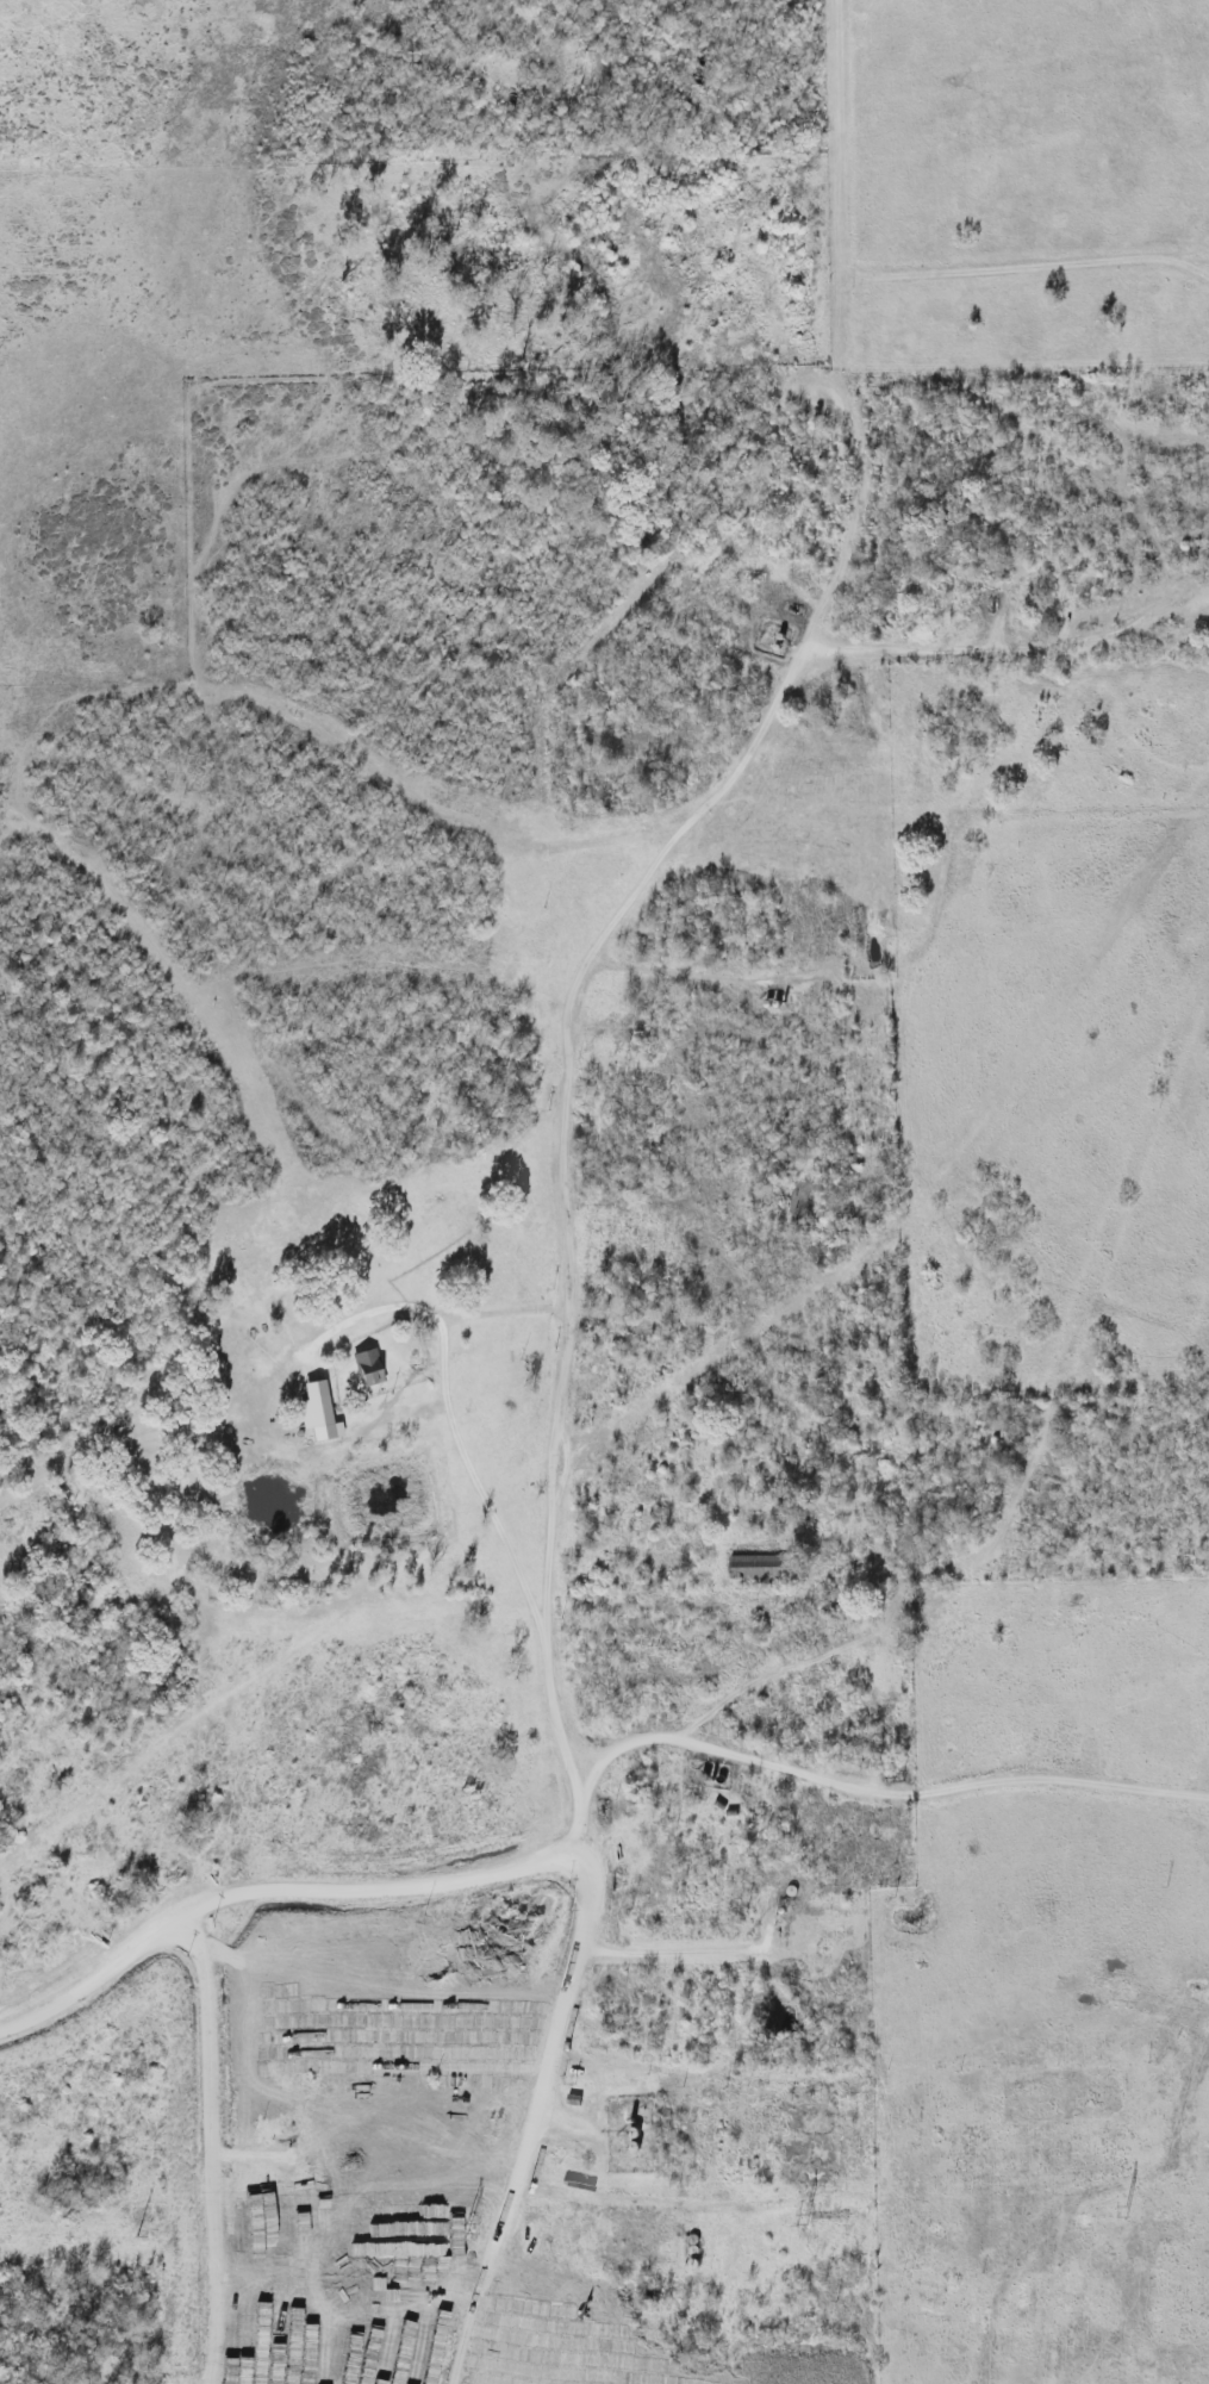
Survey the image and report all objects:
road: (840, 139)
road: (1022, 648)
road: (575, 1019)
building: (797, 1195)
road: (513, 1313)
building: (366, 1368)
building: (312, 1407)
road: (467, 1448)
building: (758, 1568)
road: (874, 1795)
road: (274, 1896)
road: (700, 1950)
power tower: (1126, 2214)
power tower: (800, 2218)
power tower: (463, 2229)
power tower: (135, 2236)
road: (404, 2299)
road: (236, 2341)
road: (474, 2342)

